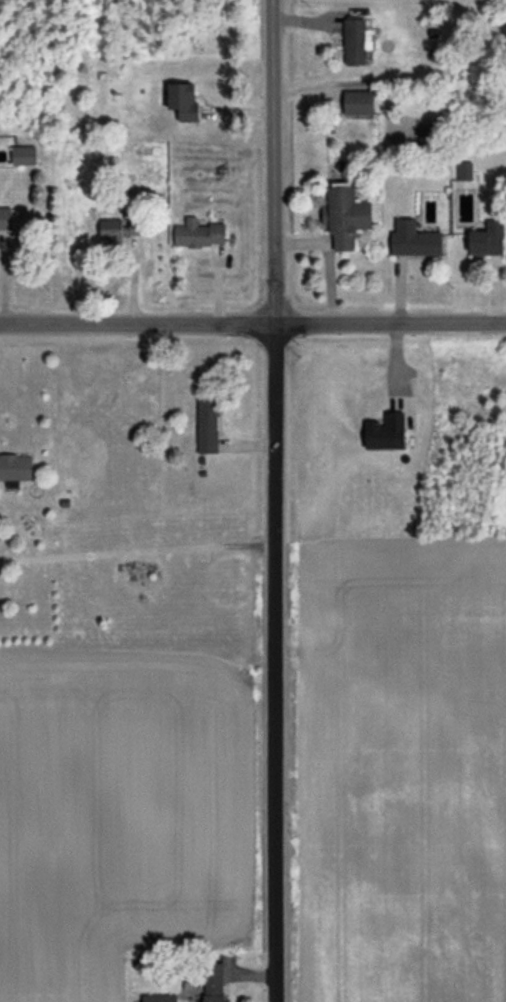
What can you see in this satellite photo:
building: (353, 41)
building: (183, 100)
building: (357, 102)
building: (425, 133)
building: (22, 155)
building: (464, 170)
building: (344, 215)
building: (5, 218)
building: (111, 231)
building: (199, 233)
building: (413, 239)
building: (486, 239)
road: (253, 323)
building: (207, 425)
building: (384, 431)
building: (15, 467)
road: (274, 501)
building: (213, 982)
building: (158, 998)

